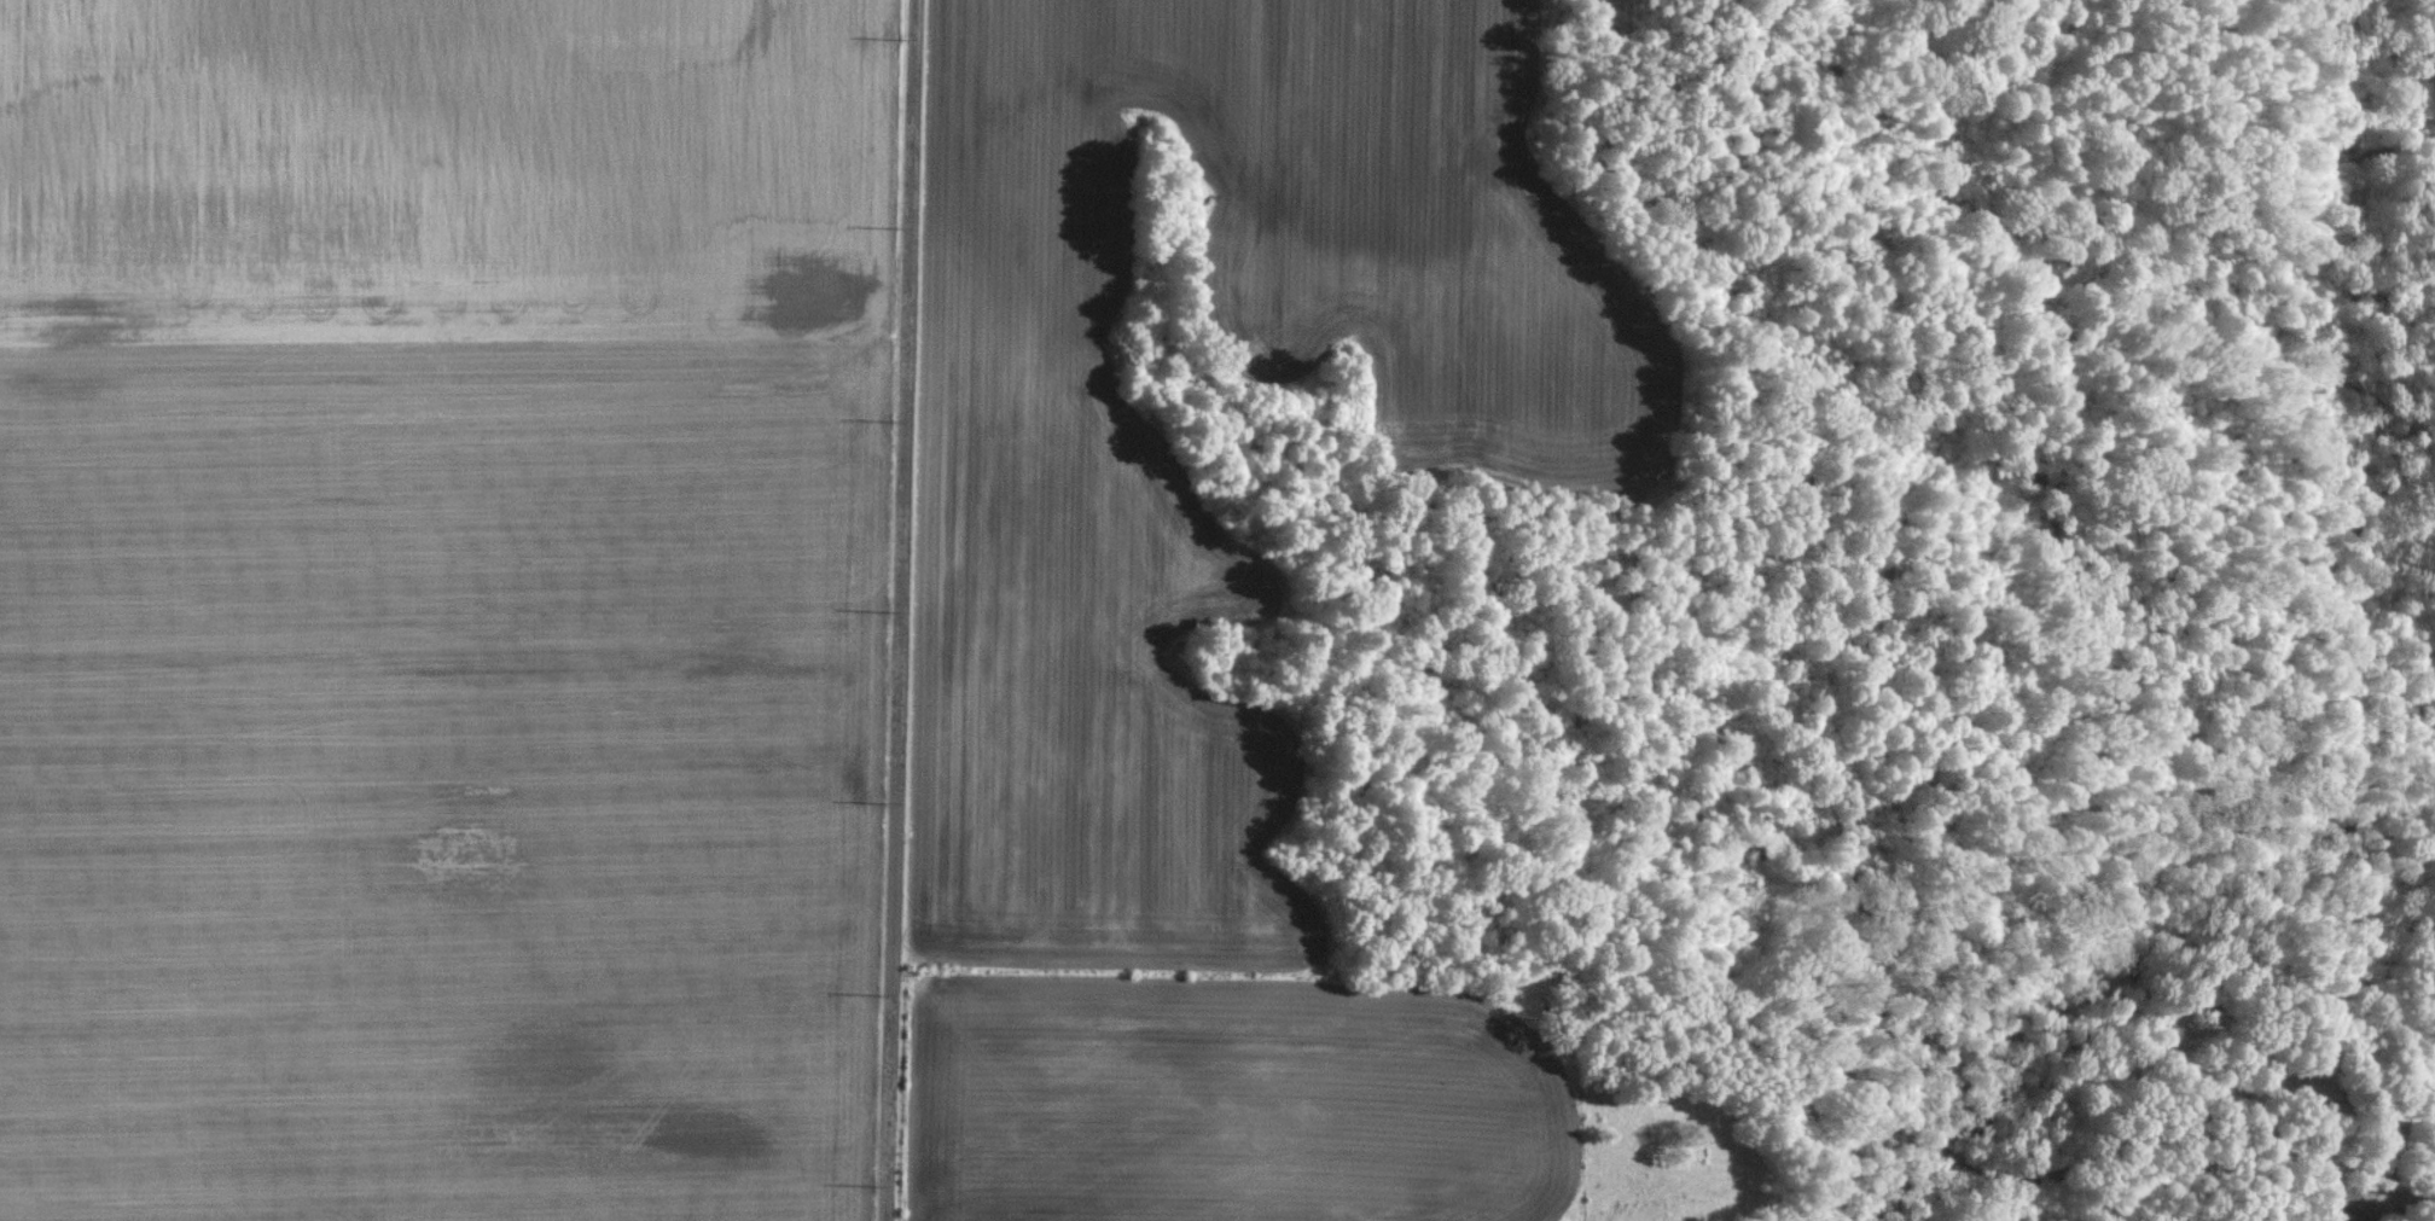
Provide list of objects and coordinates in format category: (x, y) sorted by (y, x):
road: (891, 610)

